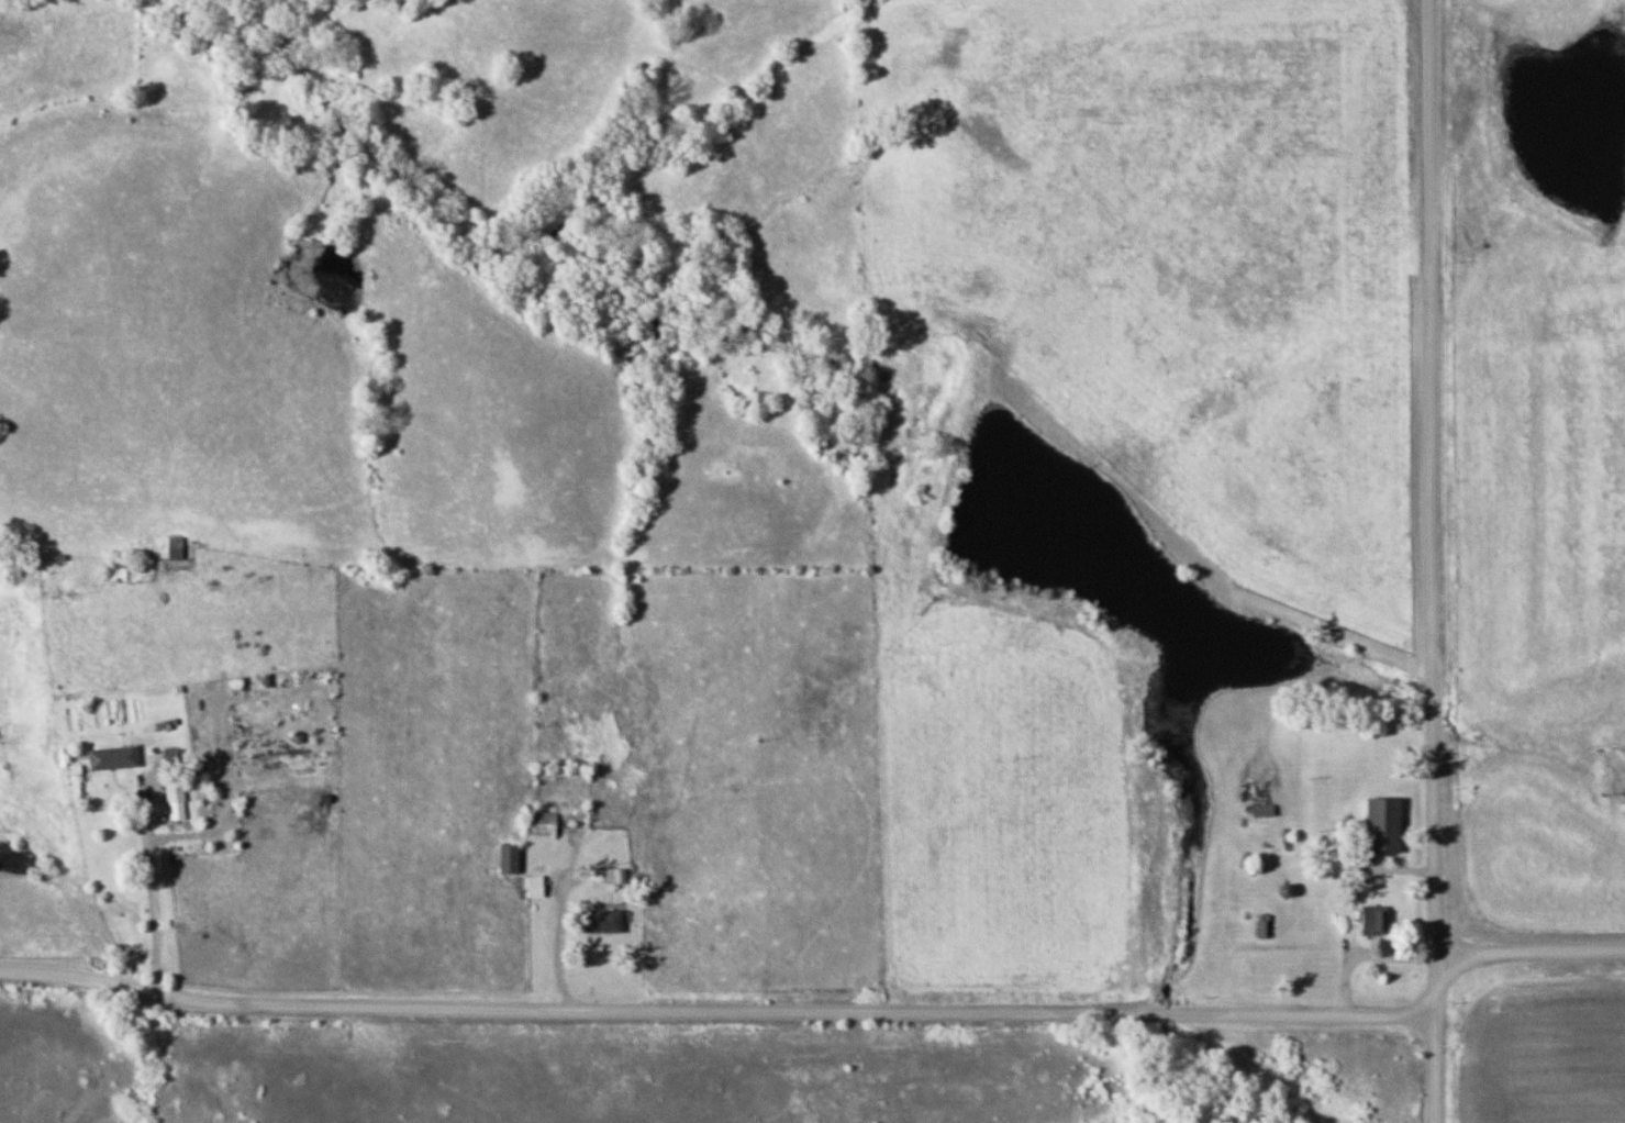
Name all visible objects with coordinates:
road: (1429, 561)
building: (107, 757)
building: (170, 758)
building: (175, 800)
building: (1262, 809)
building: (538, 823)
building: (1381, 824)
building: (507, 858)
building: (533, 886)
road: (147, 893)
building: (1372, 916)
building: (599, 921)
road: (557, 924)
building: (1262, 925)
road: (1528, 950)
road: (714, 1013)

